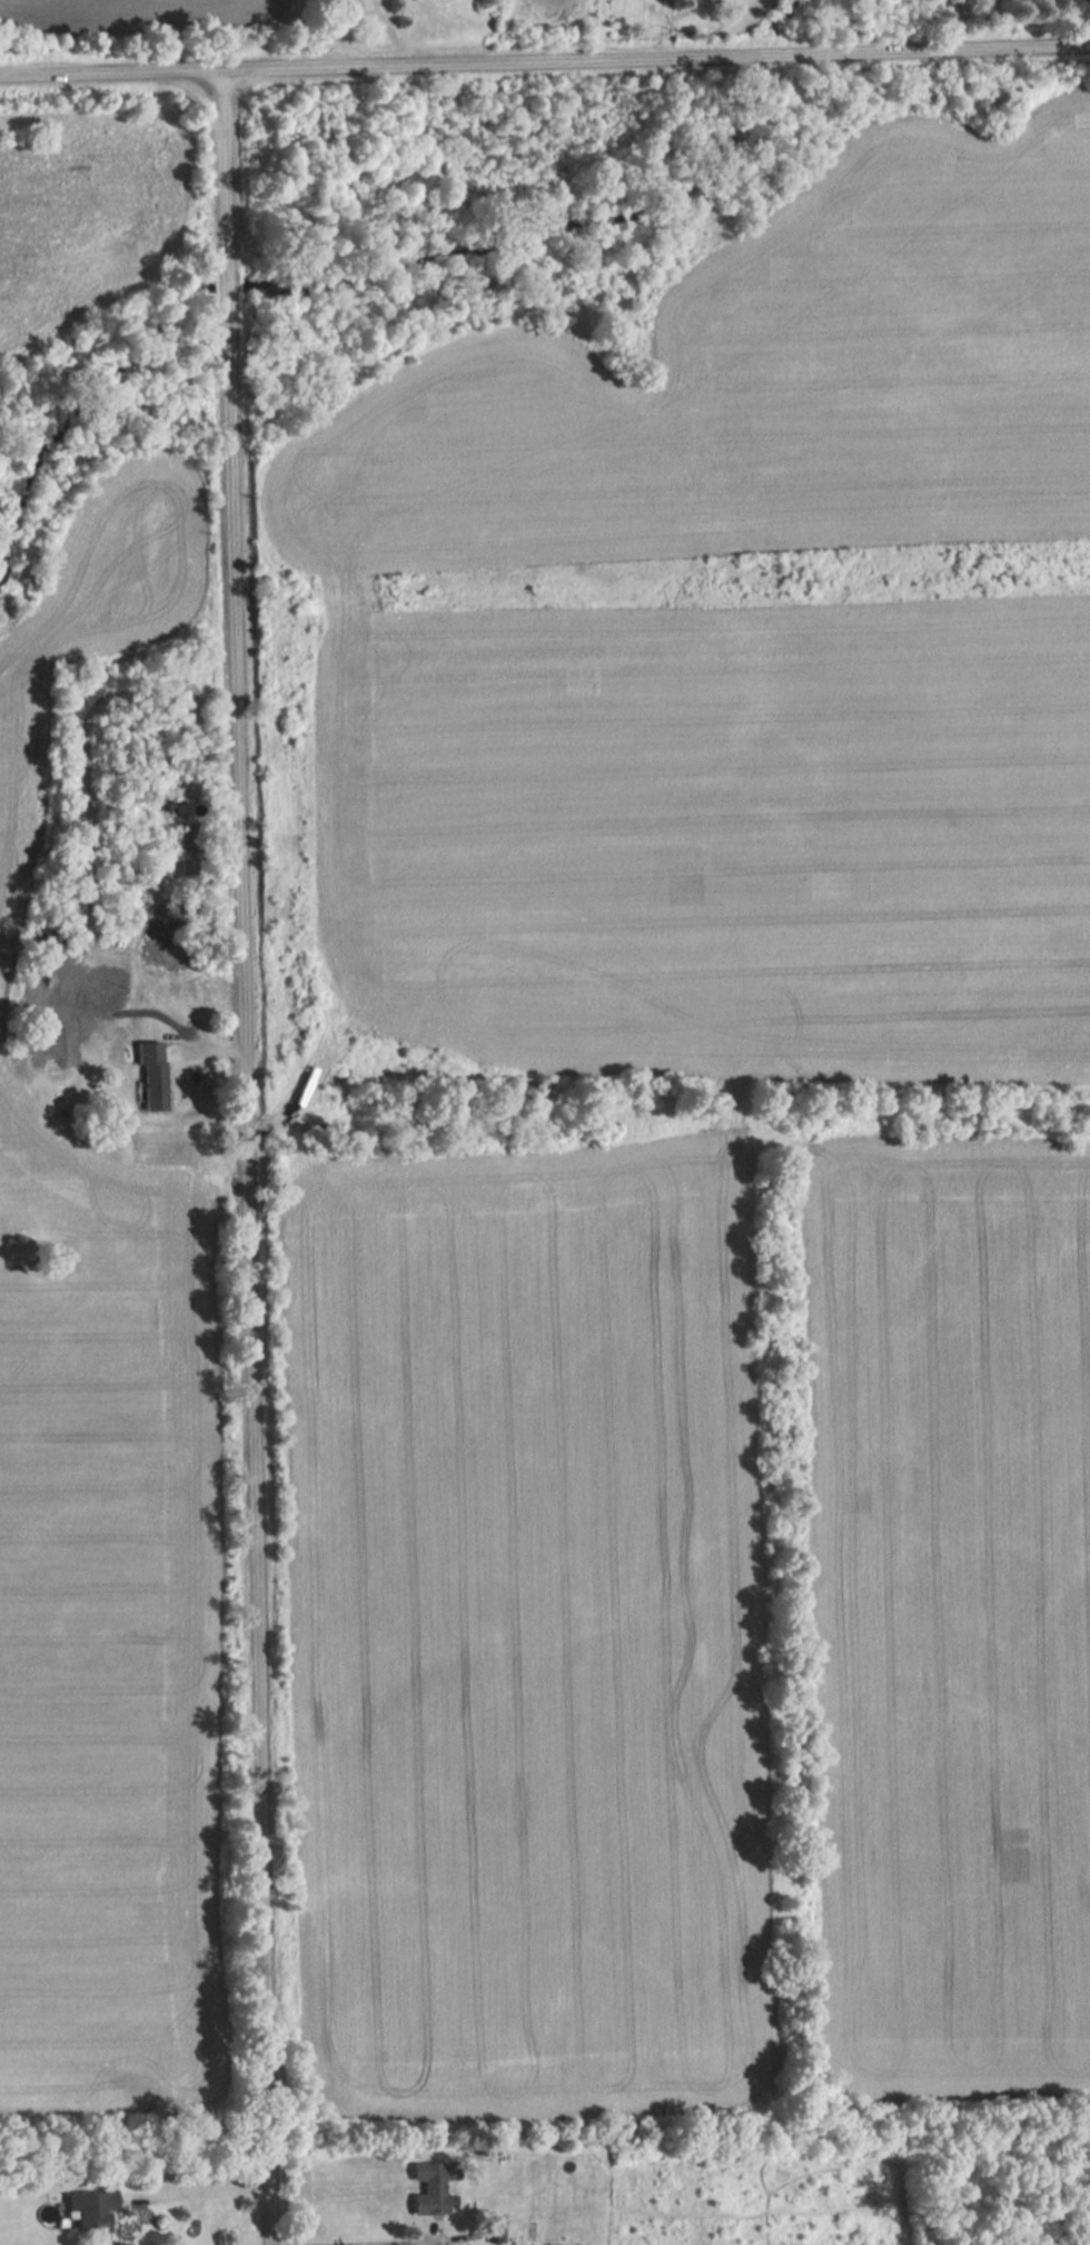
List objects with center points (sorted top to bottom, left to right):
road: (668, 28)
road: (545, 60)
building: (71, 1042)
building: (156, 1076)
road: (250, 1159)
road: (199, 2183)
building: (430, 2186)
building: (93, 2208)
road: (356, 2237)

